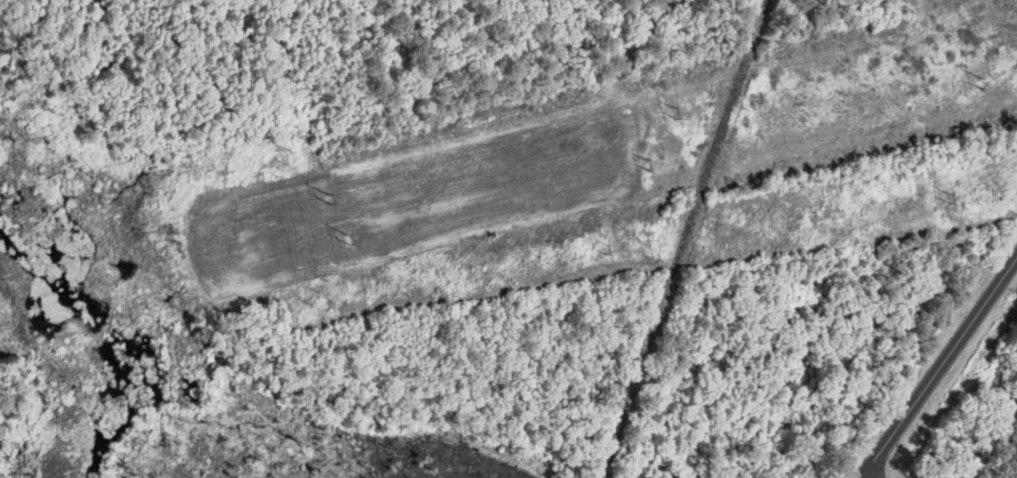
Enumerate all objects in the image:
power tower: (979, 77)
power tower: (671, 108)
power tower: (649, 162)
power tower: (287, 165)
power tower: (950, 196)
power tower: (306, 202)
railway: (682, 238)
power tower: (346, 239)
power tower: (605, 248)
building: (915, 255)
power tower: (317, 289)
road: (938, 367)
road: (866, 475)

